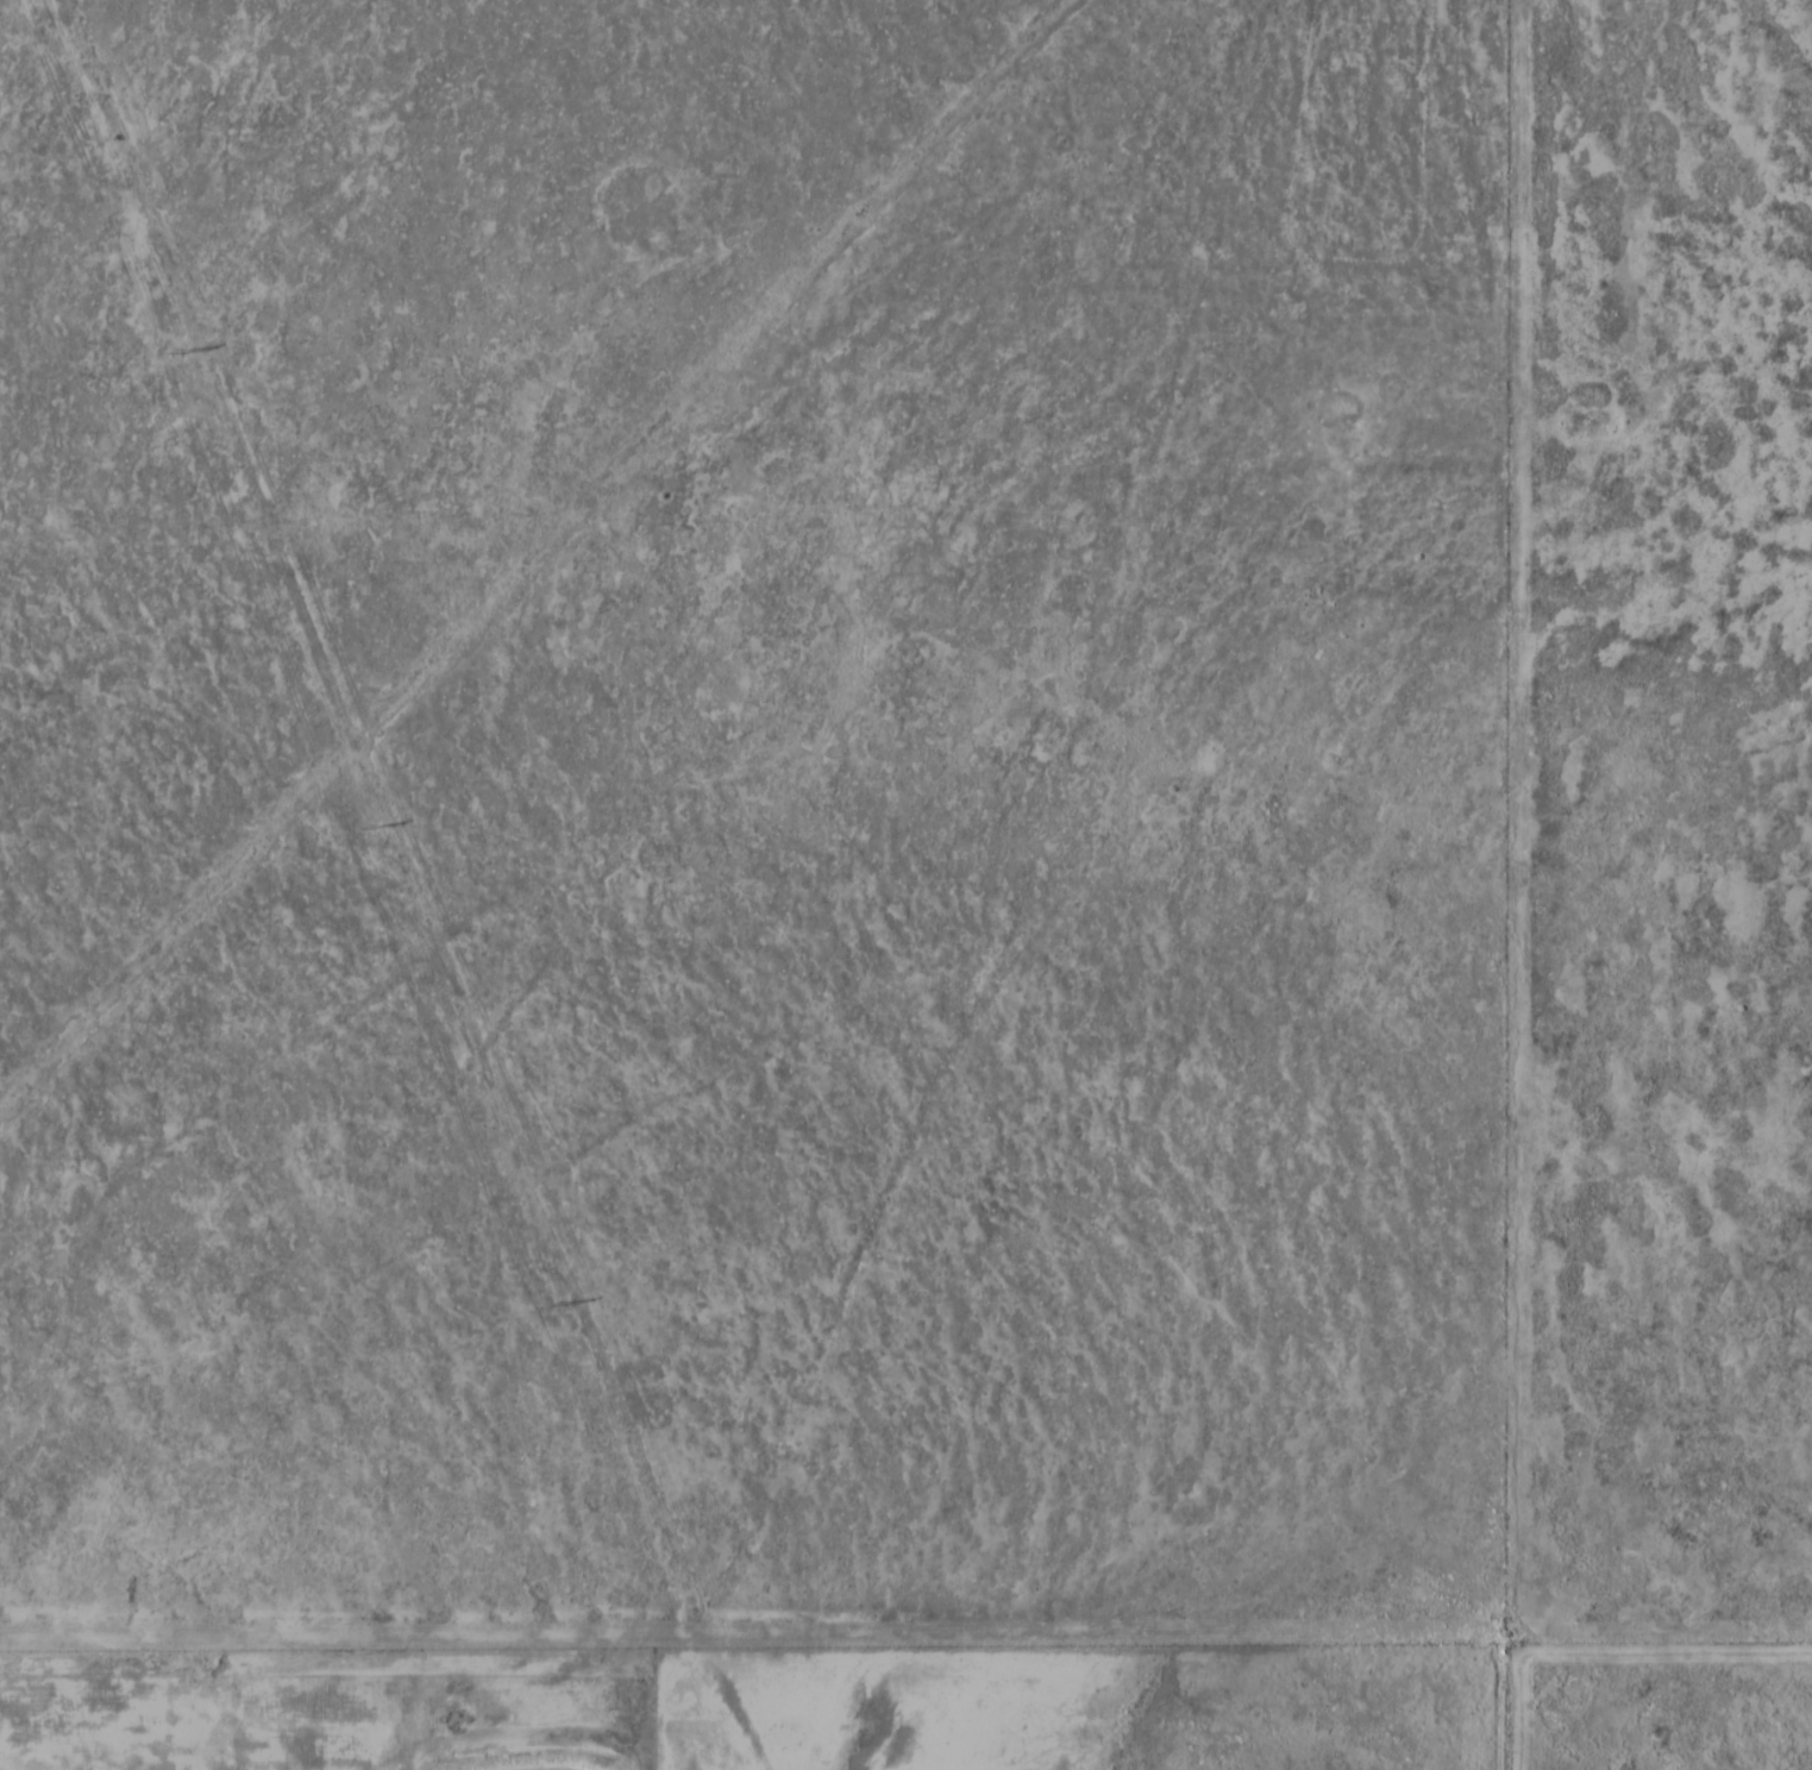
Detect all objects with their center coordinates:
power tower: (184, 349)
power tower: (376, 824)
power tower: (565, 1299)

